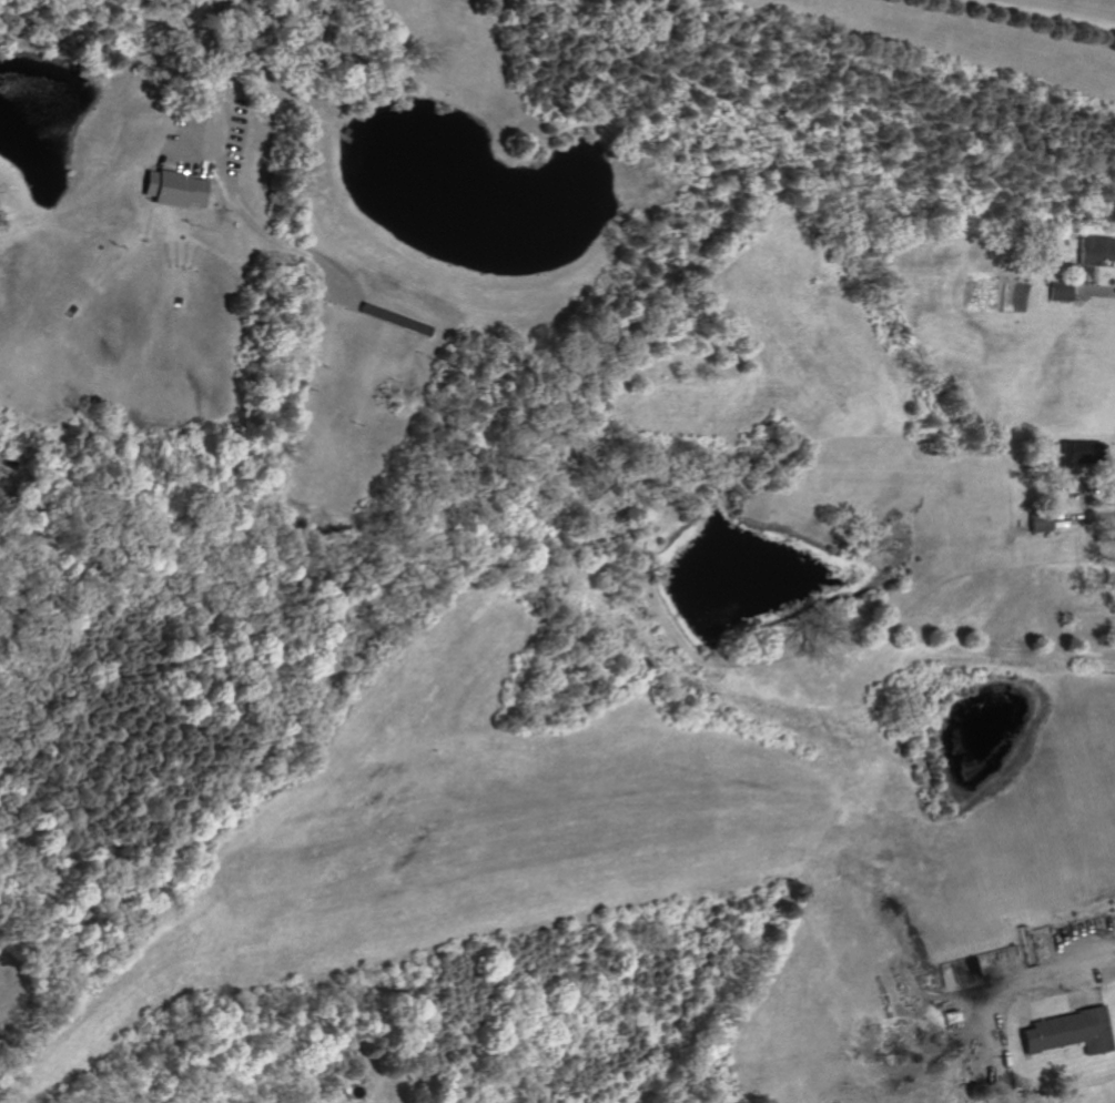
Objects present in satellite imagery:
road: (1050, 13)
road: (233, 73)
building: (173, 189)
road: (270, 234)
building: (1096, 251)
building: (1061, 292)
building: (1079, 452)
road: (1005, 992)
building: (1066, 1031)

